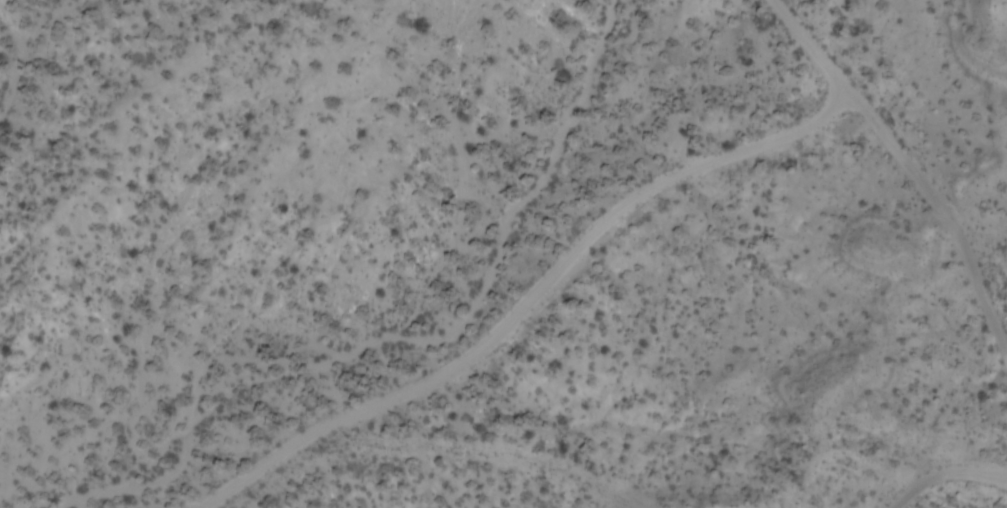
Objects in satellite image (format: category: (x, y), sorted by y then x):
road: (869, 248)

